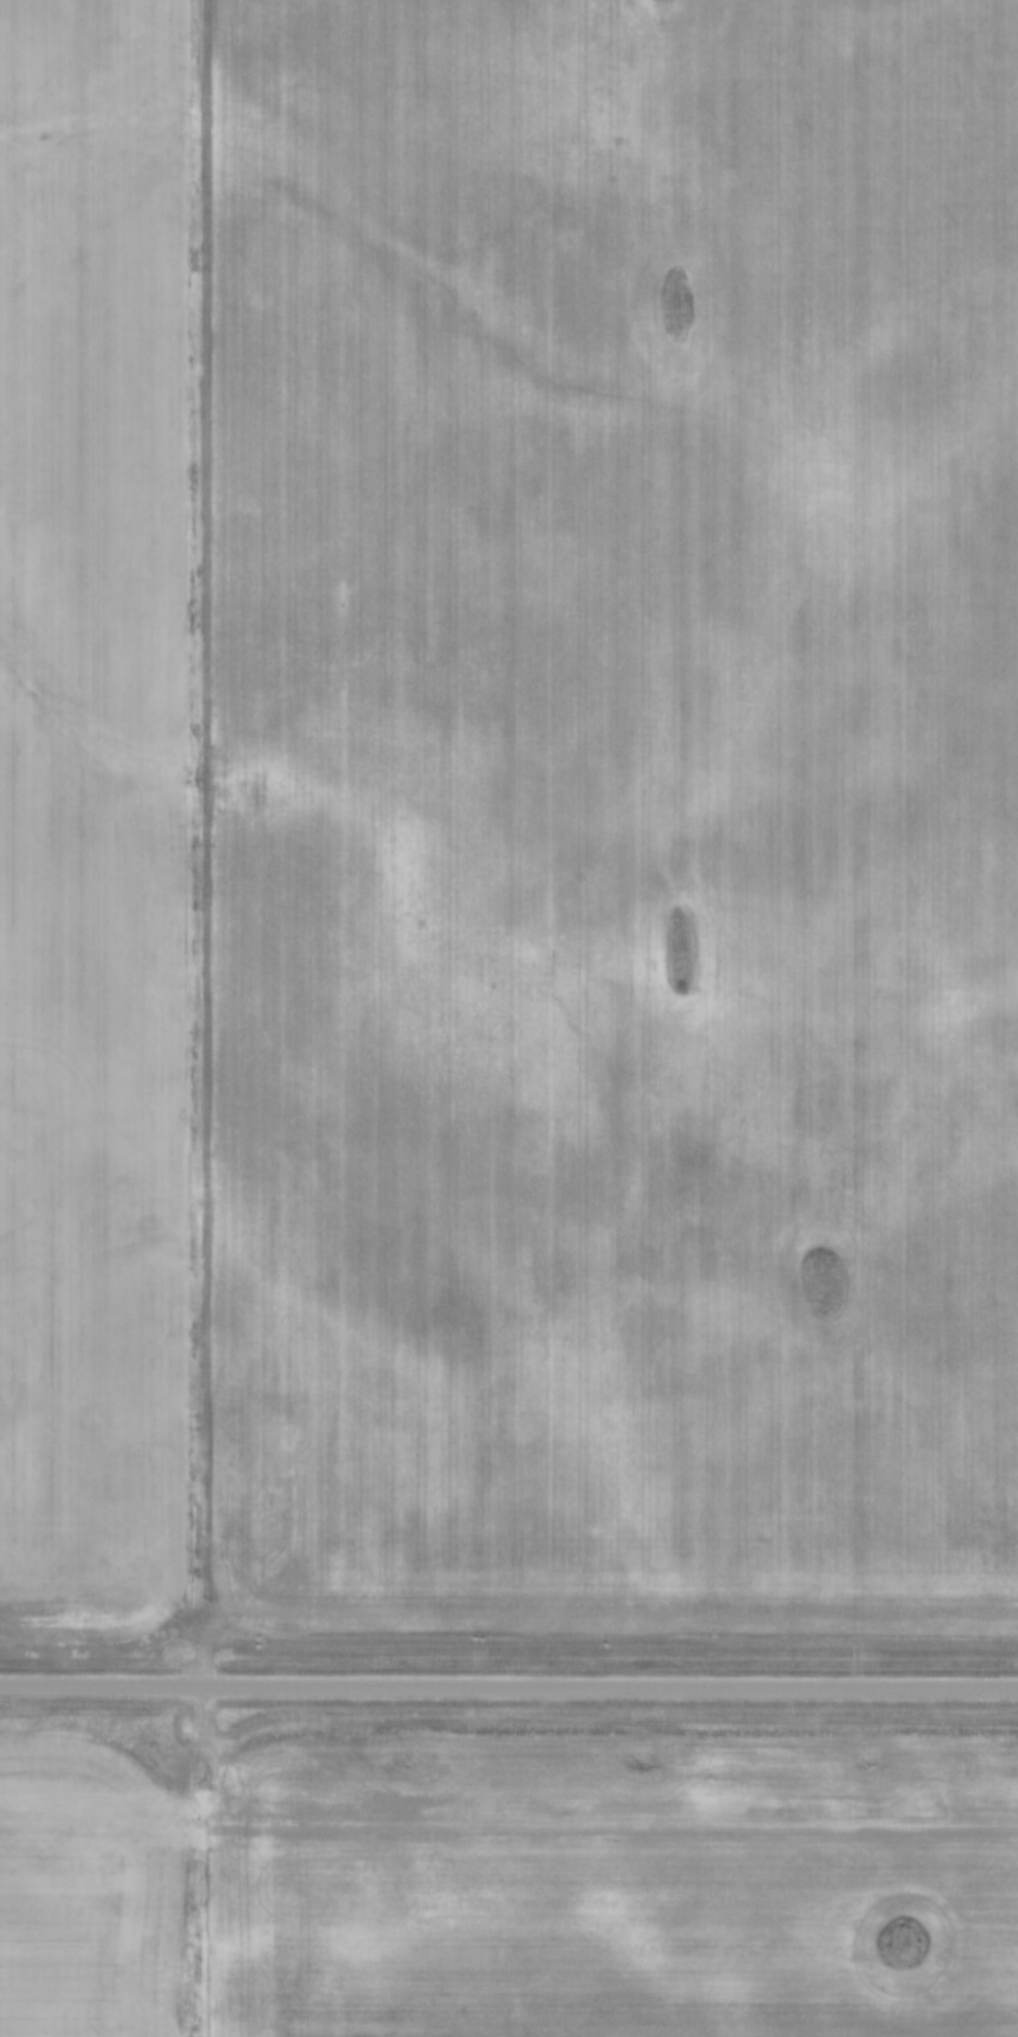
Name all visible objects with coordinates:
road: (509, 1684)

